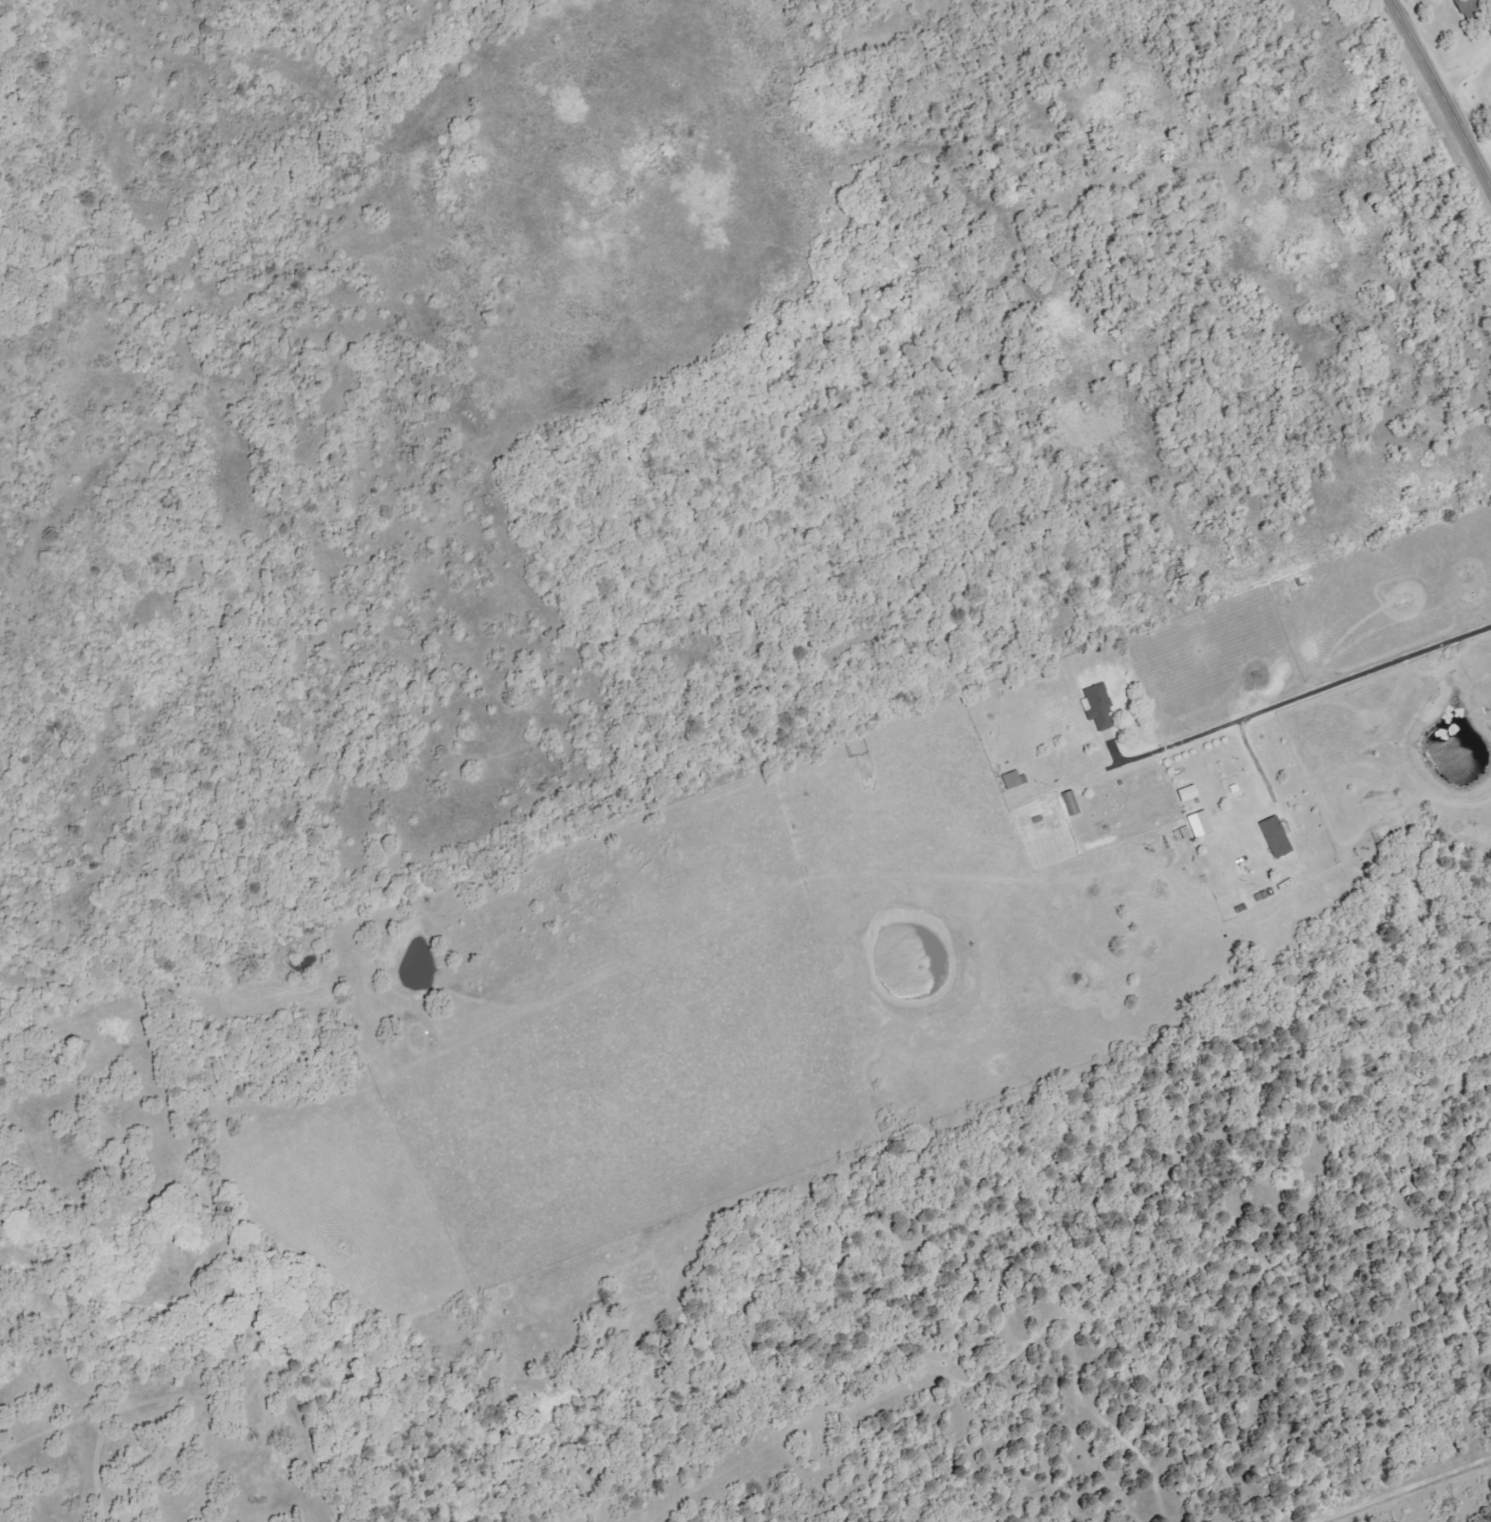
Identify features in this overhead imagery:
road: (1466, 69)
road: (1439, 93)
road: (1292, 701)
building: (1097, 707)
road: (1252, 755)
building: (1012, 779)
building: (1186, 793)
building: (1069, 802)
building: (1198, 824)
building: (1274, 836)

